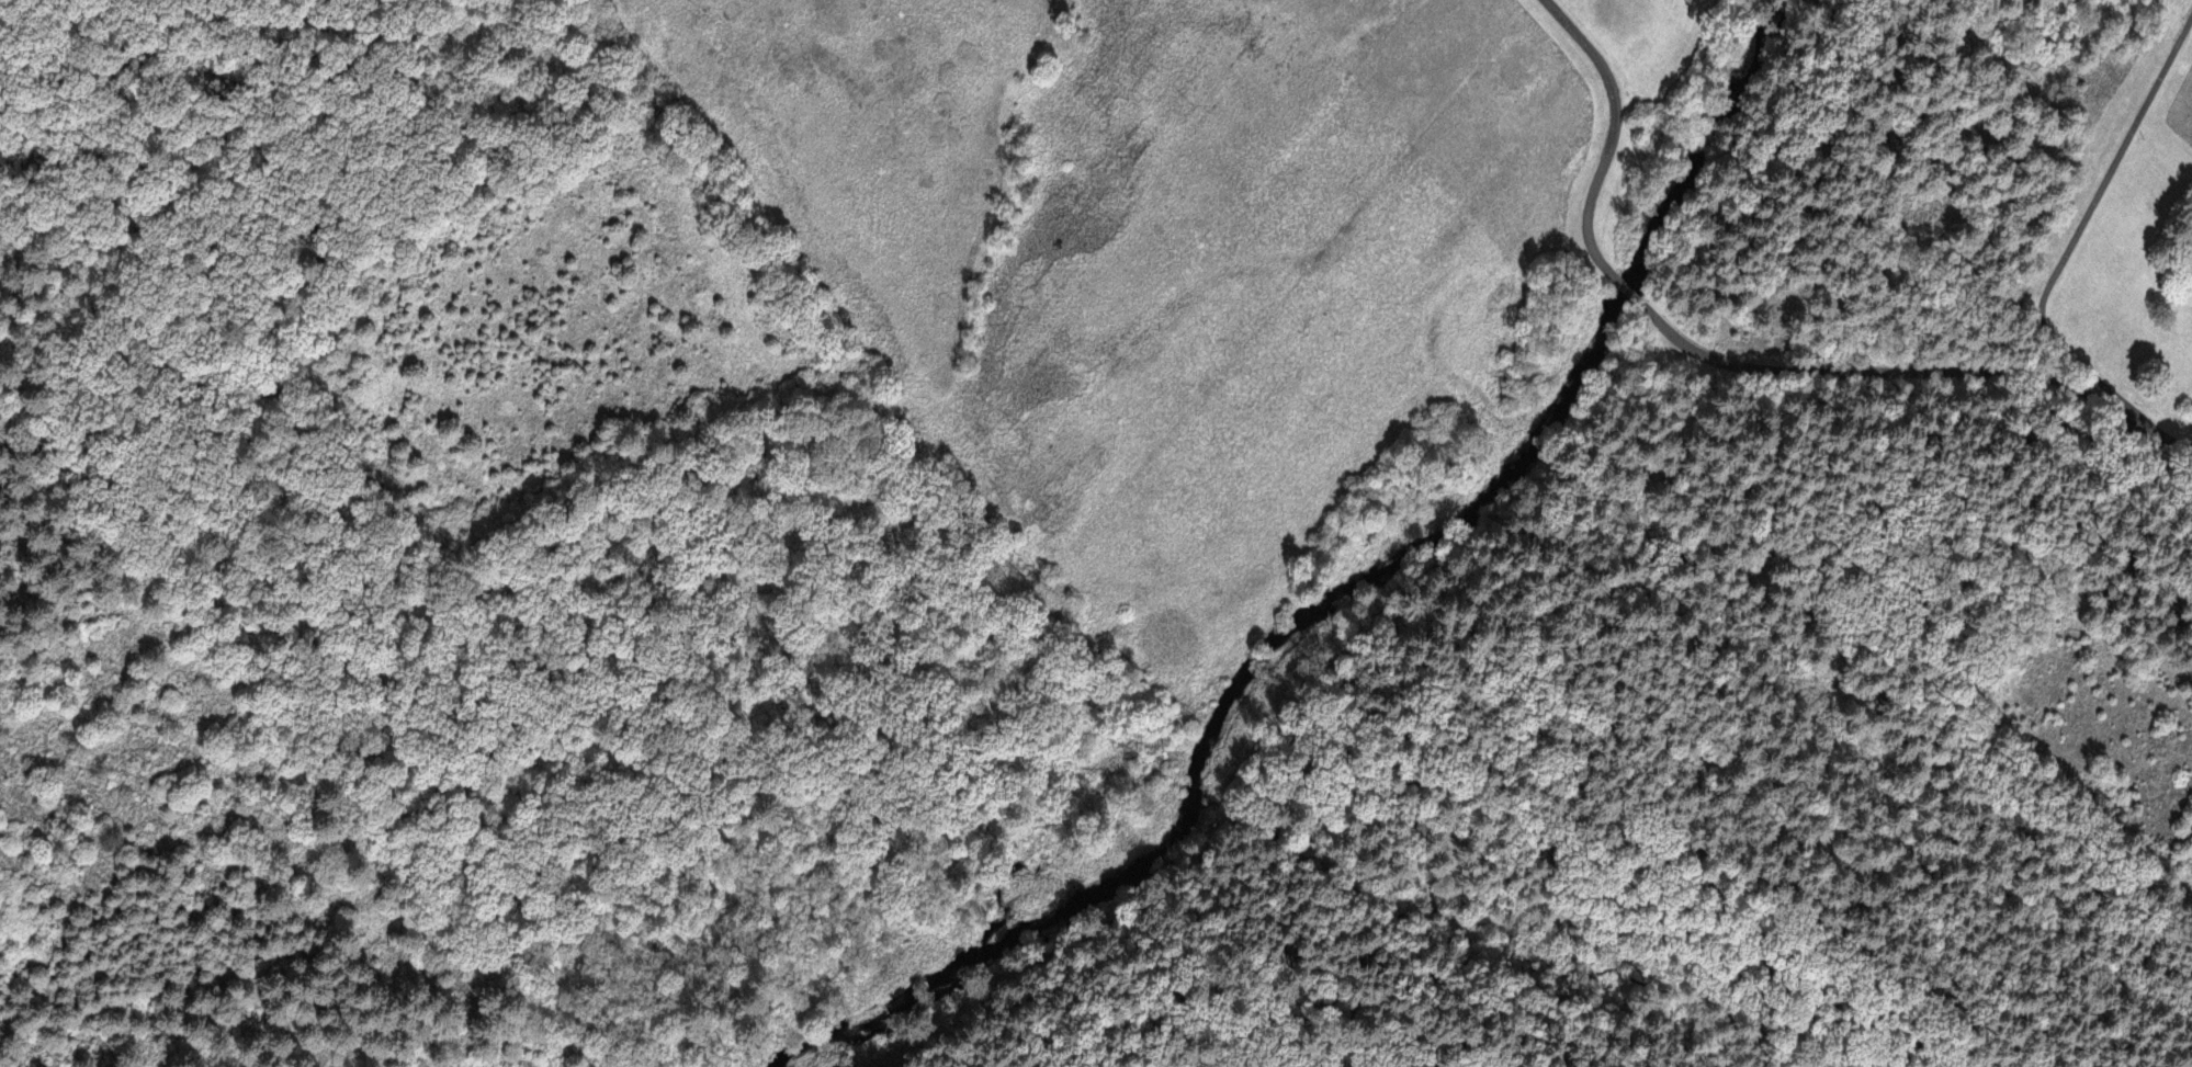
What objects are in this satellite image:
road: (191, 111)
road: (2083, 217)
building: (2190, 275)
road: (1736, 370)

